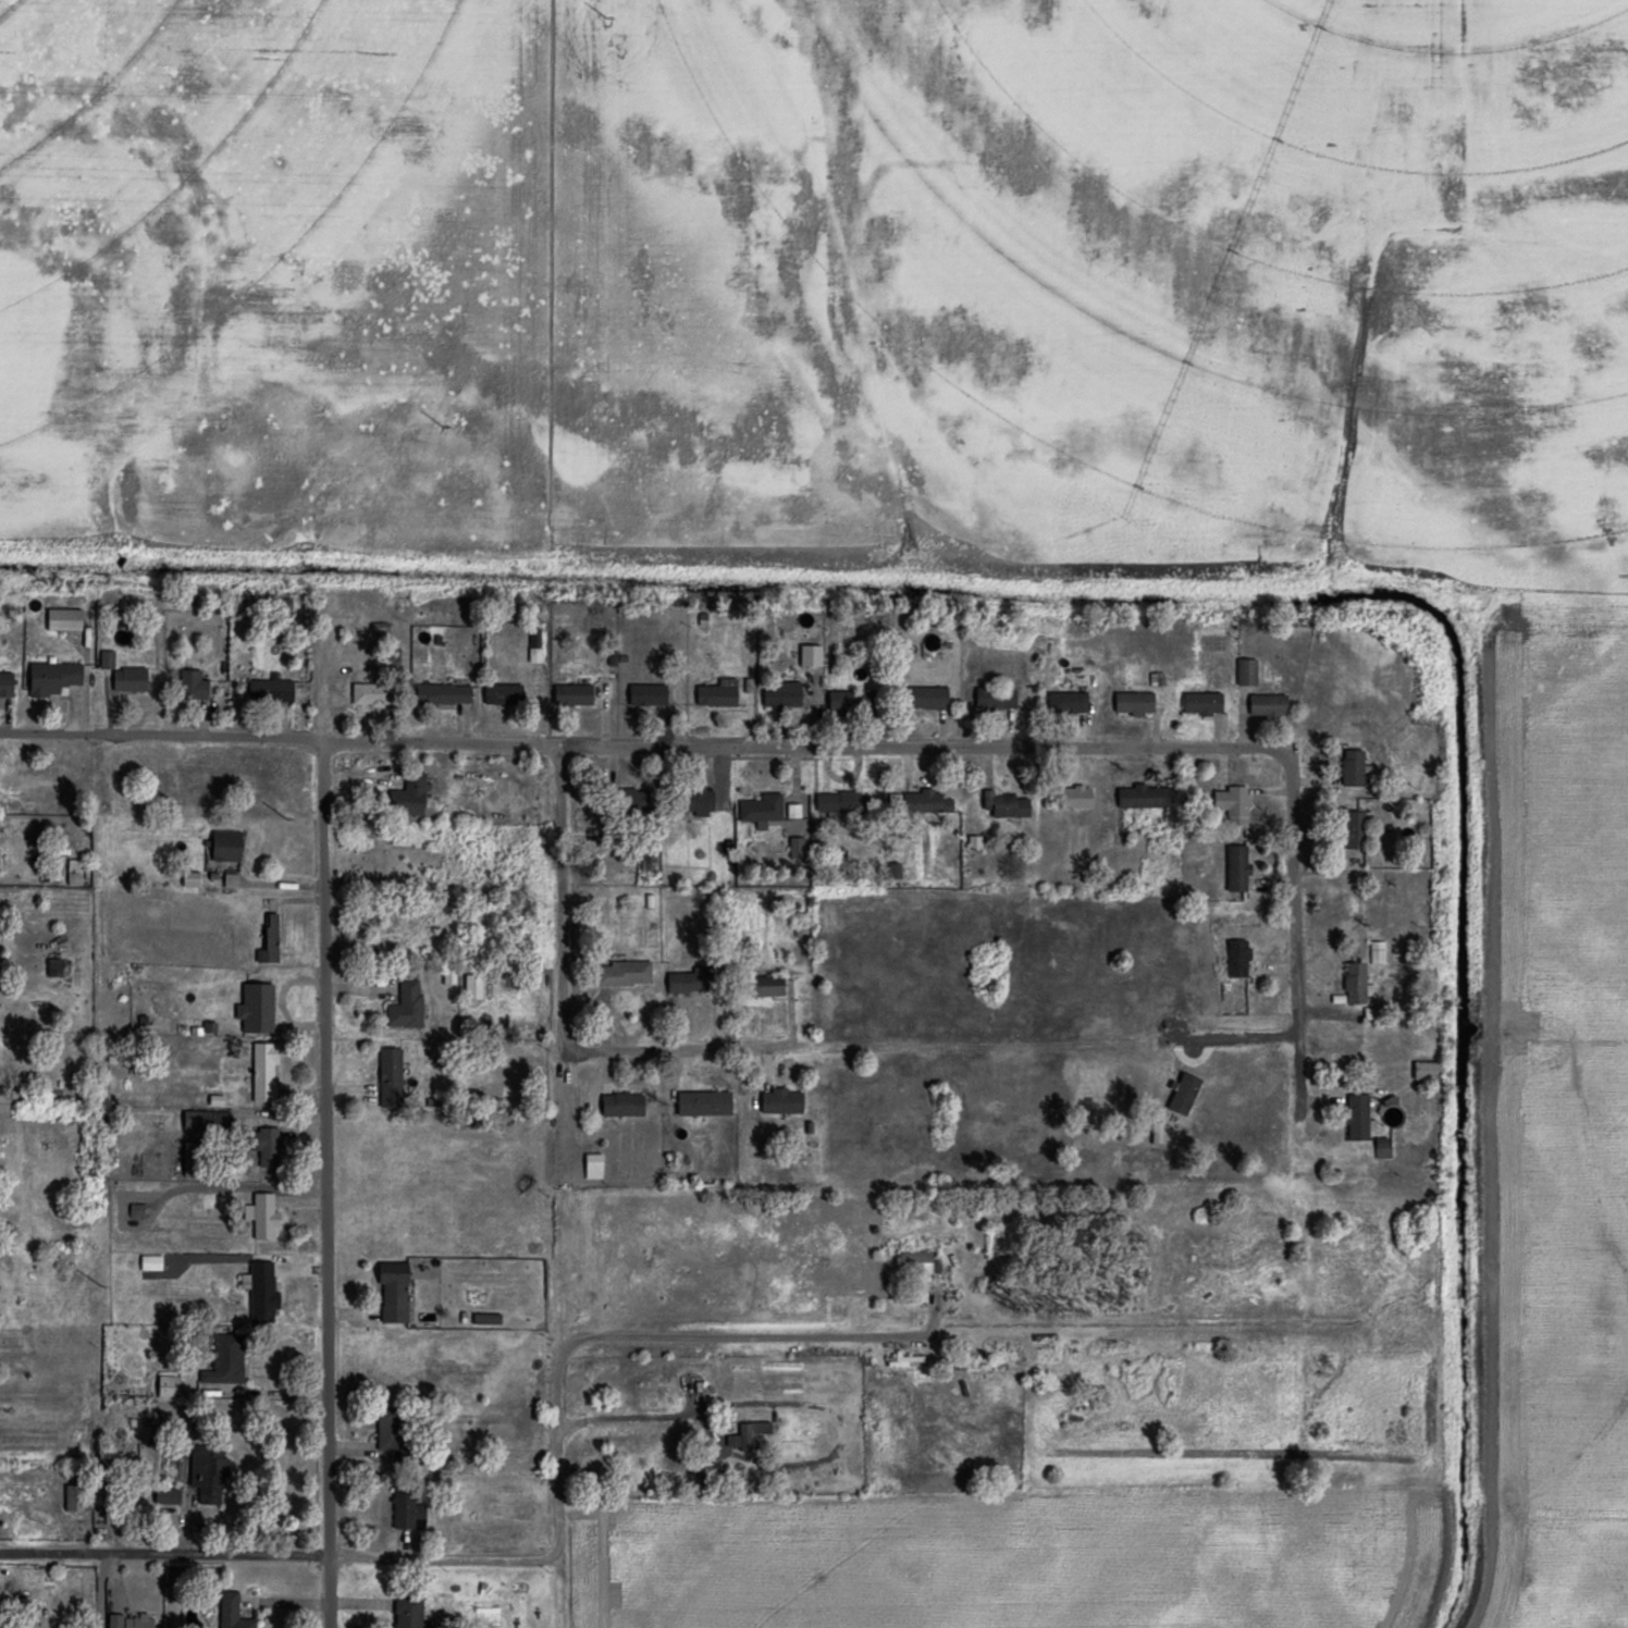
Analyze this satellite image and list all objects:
building: (63, 618)
building: (811, 655)
building: (107, 658)
building: (1246, 671)
building: (52, 677)
building: (129, 678)
building: (5, 683)
building: (193, 684)
building: (271, 689)
building: (369, 693)
building: (443, 693)
building: (502, 693)
building: (718, 693)
building: (572, 694)
building: (647, 694)
building: (781, 694)
building: (927, 698)
building: (996, 698)
building: (843, 700)
building: (1068, 702)
building: (1135, 702)
building: (1202, 703)
building: (1266, 704)
road: (645, 745)
building: (1353, 767)
building: (409, 795)
building: (1076, 797)
building: (1142, 797)
building: (700, 801)
building: (927, 802)
building: (1233, 803)
building: (1006, 804)
building: (762, 810)
building: (1355, 828)
building: (976, 841)
building: (226, 844)
building: (798, 848)
building: (646, 863)
building: (1237, 868)
building: (893, 871)
building: (74, 872)
building: (190, 878)
building: (231, 880)
road: (1295, 934)
building: (269, 940)
building: (1377, 951)
building: (1237, 959)
building: (54, 966)
building: (625, 973)
building: (689, 980)
building: (1355, 983)
building: (767, 985)
building: (472, 988)
building: (406, 1006)
building: (256, 1008)
road: (566, 1029)
building: (1426, 1070)
building: (263, 1071)
building: (391, 1076)
building: (1184, 1094)
building: (781, 1101)
building: (704, 1102)
building: (622, 1103)
building: (1357, 1117)
building: (196, 1119)
building: (269, 1148)
building: (1382, 1148)
building: (192, 1157)
building: (592, 1165)
road: (326, 1185)
building: (136, 1209)
building: (264, 1212)
building: (915, 1261)
building: (150, 1262)
building: (393, 1291)
building: (260, 1292)
building: (484, 1318)
road: (634, 1334)
building: (225, 1359)
building: (168, 1386)
building: (387, 1431)
building: (747, 1434)
building: (208, 1473)
building: (166, 1496)
building: (75, 1497)
building: (407, 1510)
road: (281, 1554)
building: (232, 1612)
building: (408, 1612)
building: (114, 1620)
building: (137, 1621)
building: (2, 1627)

